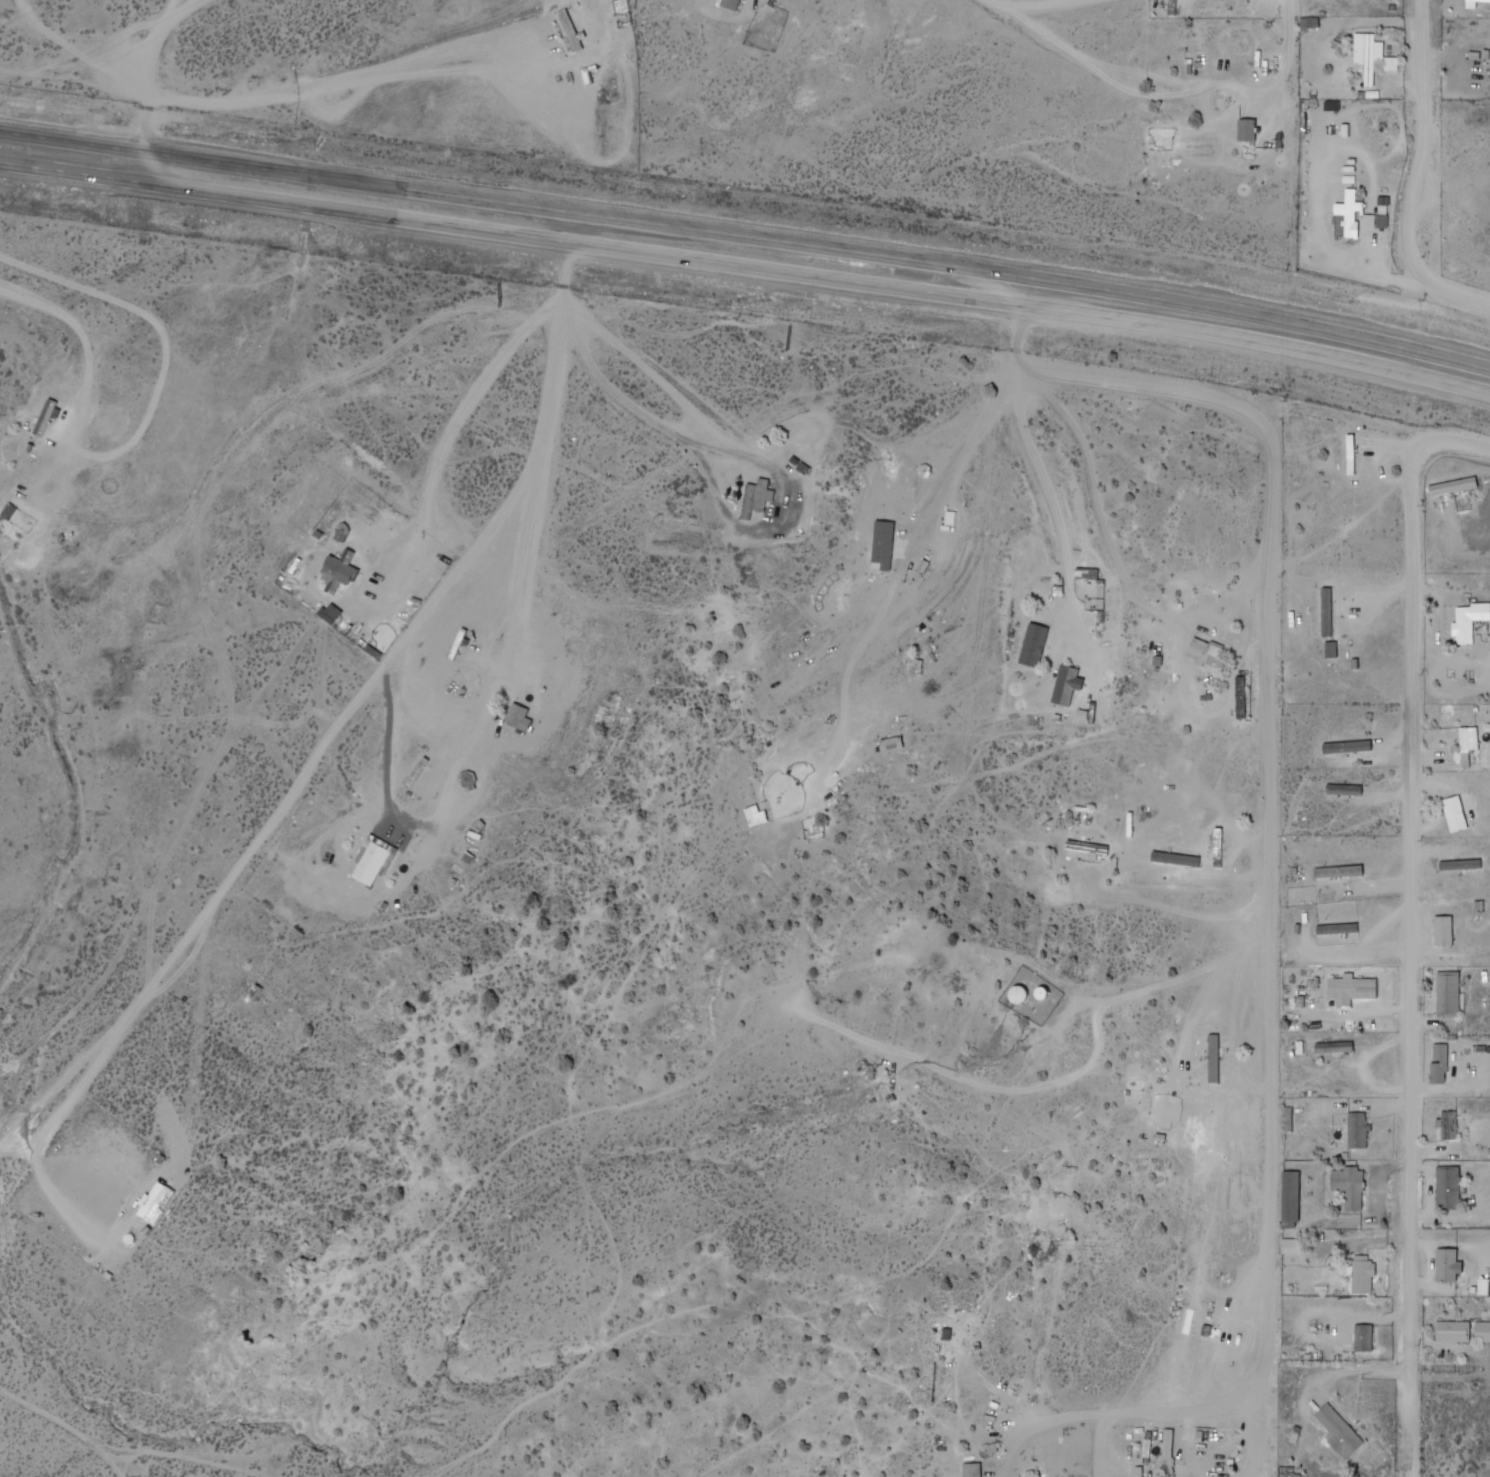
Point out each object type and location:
building: (1473, 2)
building: (731, 4)
building: (1367, 56)
road: (147, 61)
road: (1299, 85)
building: (1246, 129)
road: (1425, 174)
building: (1347, 216)
road: (747, 235)
road: (567, 252)
road: (746, 266)
building: (480, 302)
road: (664, 375)
building: (43, 419)
road: (1454, 443)
building: (1351, 455)
road: (721, 474)
road: (1040, 482)
building: (1453, 488)
building: (753, 502)
road: (512, 521)
road: (975, 532)
building: (882, 545)
road: (1123, 562)
building: (332, 573)
building: (1468, 621)
road: (1089, 638)
building: (1204, 653)
road: (972, 670)
building: (1065, 686)
building: (518, 718)
building: (1469, 739)
road: (1278, 764)
building: (1343, 790)
road: (367, 804)
building: (1454, 813)
building: (1002, 846)
building: (370, 863)
building: (1330, 872)
road: (187, 956)
road: (1409, 960)
building: (1351, 990)
building: (1447, 995)
road: (1133, 998)
building: (1438, 1064)
road: (996, 1089)
building: (1448, 1126)
building: (1356, 1131)
building: (1447, 1189)
building: (1345, 1198)
building: (1290, 1201)
building: (1038, 1247)
building: (1447, 1266)
building: (1362, 1275)
road: (1055, 1321)
building: (1452, 1332)
building: (1482, 1332)
building: (1363, 1339)
road: (1355, 1370)
road: (996, 1390)
road: (1168, 1418)
road: (1052, 1426)
road: (1255, 1428)
building: (1336, 1430)
building: (1167, 1440)
building: (974, 1469)
building: (1289, 1474)

